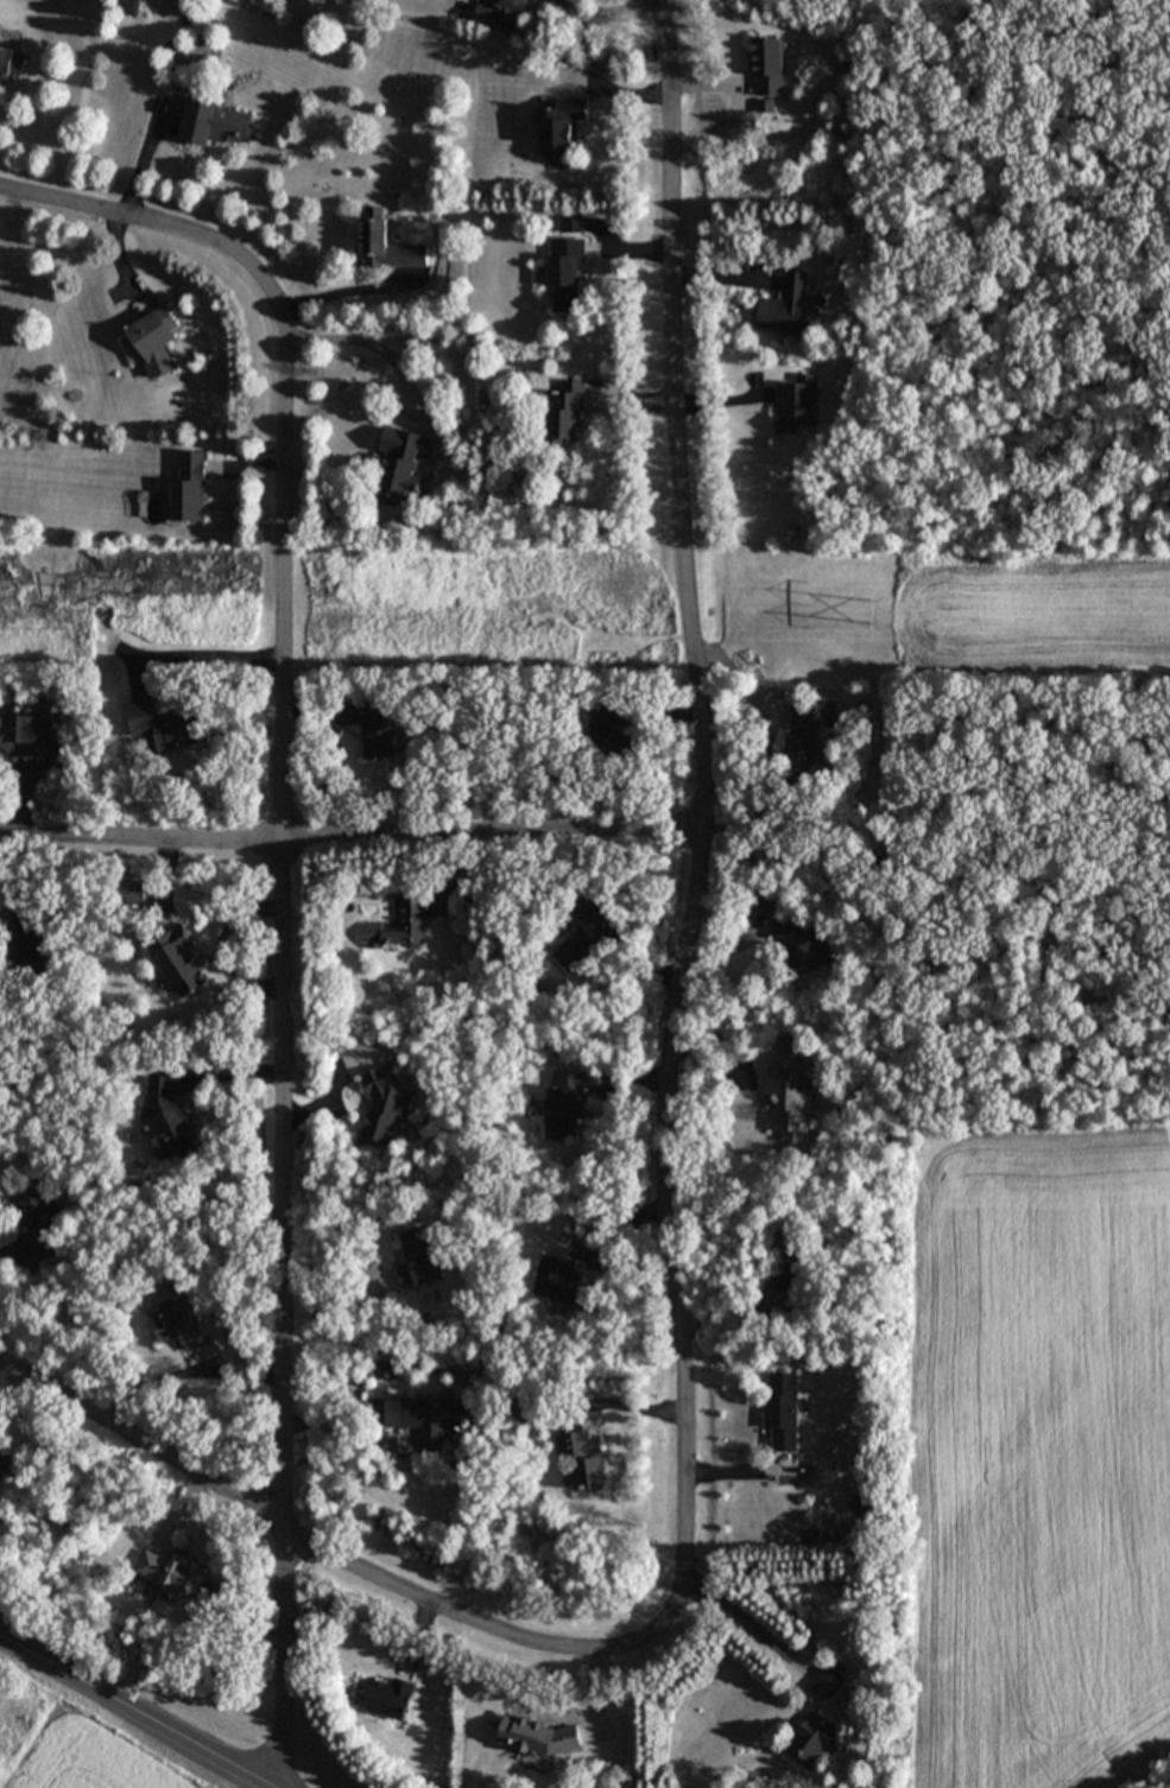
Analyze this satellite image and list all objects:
road: (608, 6)
building: (501, 14)
building: (11, 65)
building: (766, 66)
building: (214, 120)
building: (561, 126)
road: (143, 161)
building: (385, 243)
building: (563, 272)
road: (340, 293)
building: (783, 306)
building: (153, 341)
road: (365, 341)
building: (793, 402)
building: (565, 412)
building: (400, 464)
building: (188, 488)
power tower: (145, 607)
power tower: (879, 613)
road: (197, 658)
building: (160, 727)
building: (375, 730)
building: (611, 730)
building: (808, 734)
building: (29, 737)
road: (706, 792)
road: (352, 847)
building: (131, 892)
road: (285, 894)
building: (394, 925)
building: (584, 933)
building: (26, 939)
building: (801, 946)
building: (176, 960)
building: (786, 1093)
building: (382, 1104)
building: (564, 1105)
building: (169, 1117)
building: (31, 1211)
building: (419, 1258)
building: (778, 1276)
building: (559, 1281)
building: (177, 1323)
building: (385, 1365)
road: (158, 1380)
road: (621, 1403)
building: (521, 1408)
building: (780, 1409)
building: (426, 1418)
building: (583, 1458)
building: (4, 1465)
road: (347, 1561)
building: (167, 1572)
road: (750, 1624)
building: (826, 1681)
building: (388, 1697)
road: (133, 1712)
building: (533, 1736)
building: (811, 1737)

